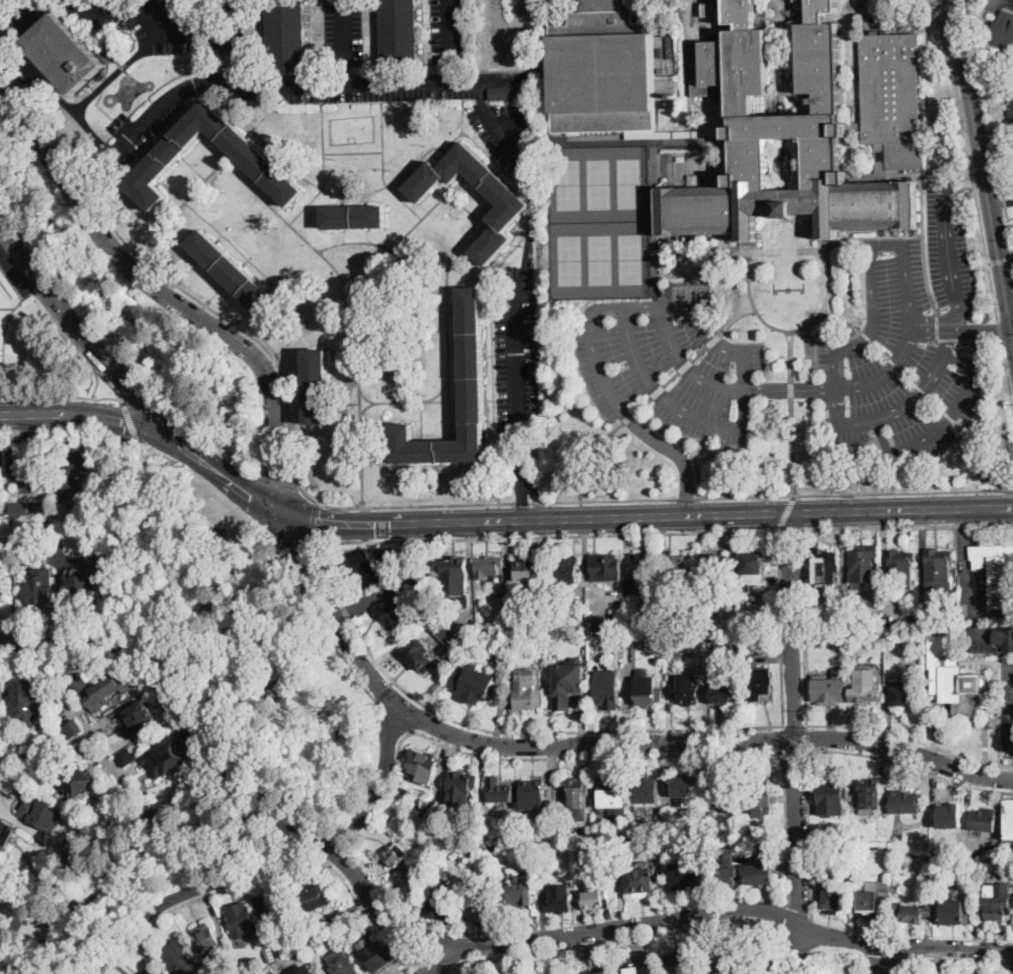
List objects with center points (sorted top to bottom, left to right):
road: (40, 0)
road: (950, 7)
road: (157, 12)
traffic signals: (954, 18)
road: (908, 20)
parking lot: (177, 23)
parking lot: (451, 31)
parking lot: (343, 33)
building: (399, 33)
building: (286, 35)
building: (1003, 35)
road: (346, 40)
road: (452, 40)
building: (65, 53)
road: (934, 57)
building: (605, 68)
road: (102, 84)
road: (480, 84)
building: (1009, 89)
parking lot: (351, 92)
building: (510, 93)
road: (925, 95)
building: (893, 97)
road: (438, 99)
road: (349, 101)
road: (185, 110)
building: (1011, 116)
road: (990, 119)
parking lot: (144, 124)
road: (171, 129)
building: (780, 129)
road: (249, 132)
parking lot: (504, 133)
road: (203, 135)
road: (56, 141)
road: (154, 147)
building: (1012, 147)
road: (353, 152)
building: (248, 153)
road: (271, 153)
road: (182, 157)
road: (983, 158)
road: (969, 160)
road: (495, 162)
road: (194, 169)
road: (498, 169)
road: (324, 171)
road: (942, 172)
road: (248, 176)
road: (933, 180)
road: (160, 181)
road: (460, 183)
road: (964, 183)
road: (83, 184)
road: (175, 191)
road: (439, 193)
road: (338, 194)
road: (270, 197)
road: (342, 200)
road: (366, 200)
road: (485, 204)
building: (514, 204)
road: (179, 207)
road: (145, 211)
building: (355, 217)
road: (422, 217)
park: (598, 221)
road: (520, 223)
road: (407, 233)
road: (881, 235)
road: (343, 236)
road: (218, 237)
road: (368, 239)
road: (310, 242)
road: (923, 242)
road: (505, 255)
road: (499, 261)
road: (1000, 261)
road: (244, 262)
road: (187, 270)
road: (470, 272)
parking lot: (13, 273)
building: (234, 274)
road: (953, 276)
road: (270, 287)
road: (168, 292)
flagpole: (776, 292)
flagpole: (789, 292)
flagpole: (802, 292)
road: (215, 293)
road: (297, 304)
road: (440, 305)
road: (13, 307)
road: (47, 307)
road: (455, 310)
road: (824, 310)
park: (134, 315)
road: (243, 316)
road: (739, 318)
road: (313, 320)
parking lot: (645, 320)
road: (937, 326)
road: (82, 330)
road: (980, 330)
road: (1000, 332)
road: (295, 337)
road: (948, 338)
road: (862, 340)
road: (976, 341)
road: (713, 343)
road: (593, 345)
road: (449, 352)
road: (456, 354)
road: (489, 354)
road: (494, 357)
road: (344, 367)
road: (1007, 370)
road: (293, 372)
road: (360, 372)
parking lot: (516, 374)
building: (473, 376)
road: (672, 377)
road: (97, 383)
traffic signals: (127, 383)
road: (133, 386)
building: (317, 387)
road: (654, 388)
road: (85, 396)
road: (490, 399)
road: (456, 400)
road: (439, 402)
road: (344, 403)
road: (406, 403)
road: (902, 407)
road: (366, 409)
road: (298, 412)
road: (791, 412)
road: (288, 413)
road: (300, 413)
road: (86, 414)
traffic signals: (122, 420)
road: (129, 421)
road: (421, 423)
road: (944, 423)
road: (23, 427)
road: (490, 427)
road: (8, 429)
road: (22, 429)
road: (199, 431)
traffic signals: (175, 436)
road: (490, 438)
road: (343, 439)
road: (25, 448)
road: (672, 452)
road: (986, 452)
road: (164, 453)
road: (587, 454)
road: (438, 466)
road: (993, 467)
road: (430, 469)
building: (70, 475)
road: (227, 476)
road: (278, 482)
traffic signals: (251, 495)
road: (481, 502)
road: (524, 505)
building: (27, 511)
road: (725, 512)
road: (785, 512)
road: (312, 522)
road: (361, 523)
traffic signals: (318, 526)
road: (906, 526)
road: (788, 528)
road: (544, 535)
road: (293, 541)
traffic signals: (300, 548)
road: (964, 560)
building: (677, 564)
building: (714, 564)
building: (863, 564)
building: (488, 566)
building: (604, 566)
building: (902, 566)
building: (366, 567)
building: (824, 567)
building: (567, 568)
building: (646, 568)
building: (529, 569)
building: (752, 569)
building: (939, 569)
building: (996, 572)
parking lot: (971, 577)
building: (39, 578)
building: (452, 580)
building: (421, 584)
building: (4, 585)
building: (80, 588)
building: (729, 606)
building: (393, 612)
building: (673, 613)
road: (993, 613)
building: (917, 614)
building: (837, 615)
road: (183, 620)
park: (233, 622)
building: (605, 622)
building: (443, 623)
road: (803, 625)
road: (781, 627)
road: (316, 632)
building: (890, 632)
parking lot: (976, 634)
building: (747, 637)
building: (827, 638)
building: (1004, 639)
building: (672, 641)
building: (634, 642)
building: (502, 644)
building: (726, 649)
building: (554, 651)
road: (271, 653)
building: (419, 655)
building: (951, 678)
building: (567, 682)
building: (475, 685)
building: (759, 685)
building: (606, 686)
building: (865, 687)
building: (104, 688)
building: (1, 689)
building: (527, 690)
building: (830, 690)
building: (723, 692)
building: (685, 694)
building: (648, 695)
building: (903, 695)
building: (22, 698)
parking lot: (1007, 705)
building: (141, 716)
road: (259, 718)
road: (793, 720)
road: (795, 724)
road: (89, 726)
building: (72, 730)
building: (102, 731)
road: (501, 731)
road: (911, 736)
road: (304, 737)
road: (784, 738)
road: (595, 743)
road: (808, 749)
road: (48, 751)
building: (86, 751)
building: (171, 755)
road: (571, 756)
building: (126, 757)
road: (219, 762)
building: (423, 765)
road: (911, 765)
building: (77, 783)
building: (461, 783)
building: (758, 789)
building: (500, 790)
building: (533, 790)
building: (648, 790)
building: (687, 790)
building: (612, 792)
building: (724, 792)
building: (869, 794)
building: (0, 795)
building: (578, 796)
building: (831, 796)
building: (905, 801)
building: (760, 804)
building: (431, 808)
building: (42, 812)
building: (658, 816)
building: (949, 817)
building: (1009, 818)
building: (983, 820)
road: (787, 825)
road: (109, 829)
building: (6, 834)
road: (809, 835)
building: (399, 852)
building: (979, 858)
road: (273, 863)
building: (762, 872)
building: (688, 875)
building: (727, 877)
park: (136, 879)
building: (642, 887)
building: (496, 891)
building: (521, 892)
building: (312, 894)
building: (872, 895)
building: (832, 897)
building: (594, 898)
building: (560, 899)
building: (442, 903)
building: (277, 904)
building: (997, 906)
building: (953, 910)
building: (481, 912)
building: (914, 912)
building: (243, 921)
building: (319, 927)
road: (634, 937)
building: (207, 941)
road: (442, 942)
building: (281, 945)
building: (312, 947)
road: (795, 952)
building: (379, 956)
building: (181, 959)
road: (889, 959)
road: (969, 960)
road: (441, 961)
road: (443, 961)
building: (229, 962)
road: (417, 962)
building: (680, 962)
building: (736, 964)
park: (835, 964)
building: (343, 965)
road: (913, 965)
building: (639, 968)
road: (12, 970)
building: (149, 971)
building: (306, 971)
building: (598, 973)

